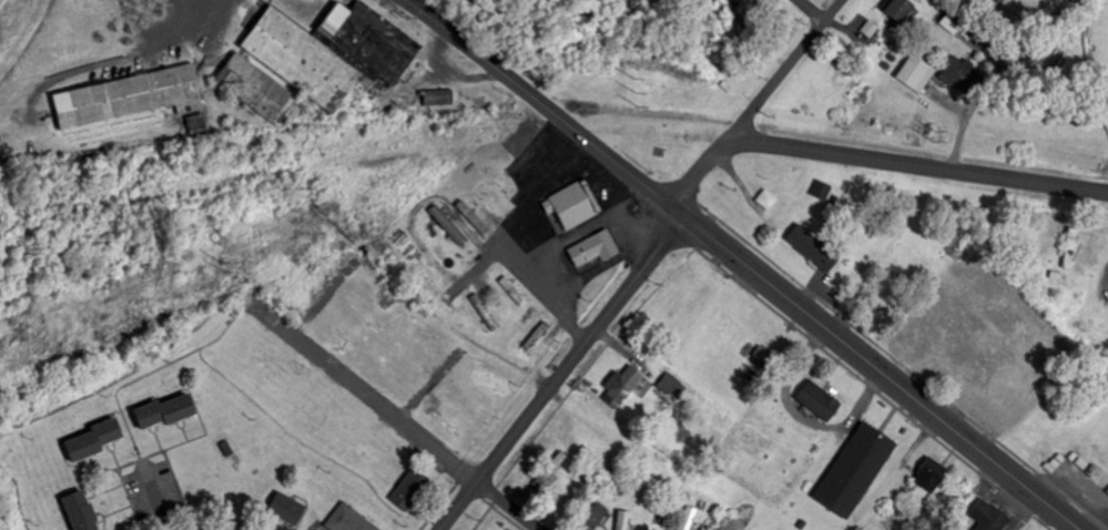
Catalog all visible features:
building: (905, 9)
road: (811, 10)
building: (955, 24)
building: (872, 30)
building: (377, 40)
building: (307, 61)
building: (918, 74)
building: (965, 78)
building: (257, 88)
building: (132, 99)
road: (758, 103)
road: (549, 108)
road: (917, 165)
building: (771, 200)
building: (577, 205)
road: (509, 210)
building: (476, 220)
building: (451, 226)
building: (817, 248)
building: (598, 249)
road: (306, 284)
building: (516, 293)
building: (765, 358)
road: (415, 369)
road: (562, 373)
road: (881, 374)
building: (626, 387)
building: (823, 401)
building: (173, 412)
road: (396, 419)
building: (101, 441)
building: (861, 470)
building: (548, 476)
building: (935, 477)
building: (414, 490)
building: (291, 508)
building: (85, 511)
building: (992, 517)
building: (691, 518)
building: (352, 519)
building: (624, 520)

